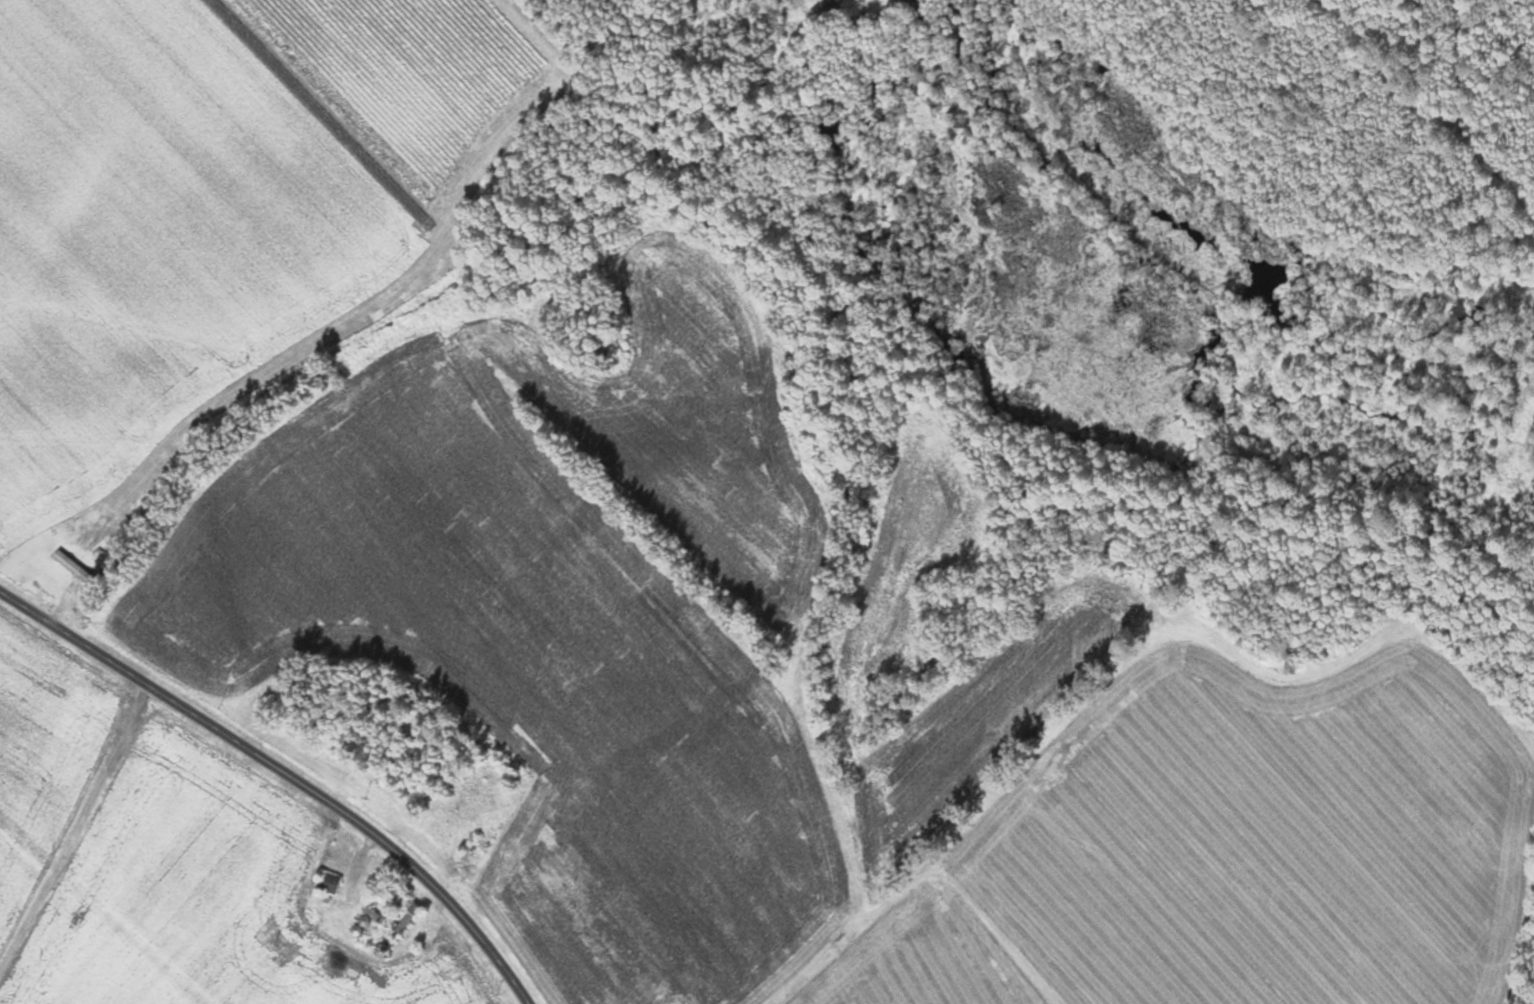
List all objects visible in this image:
building: (73, 563)
road: (283, 774)
road: (74, 833)
building: (328, 882)
building: (392, 896)
building: (375, 916)
building: (408, 917)

